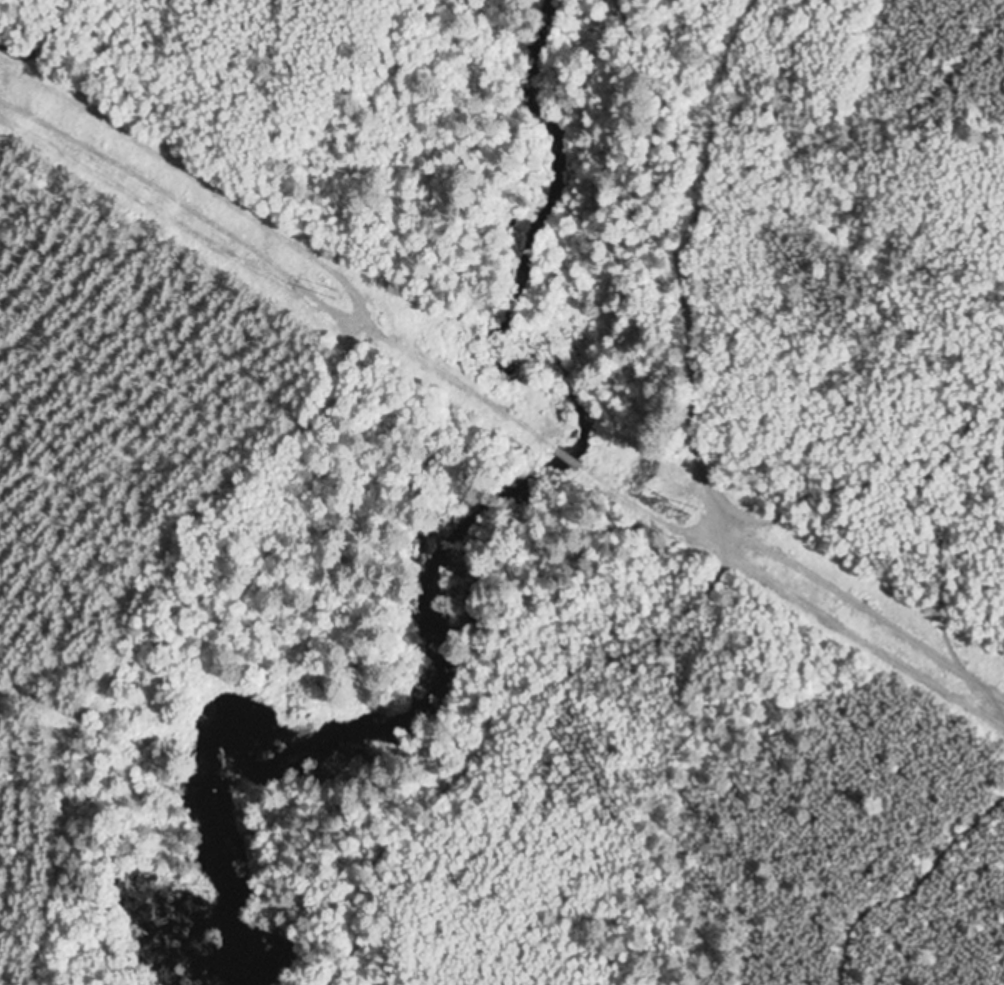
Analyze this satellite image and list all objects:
road: (118, 122)
power tower: (331, 288)
power tower: (682, 500)

